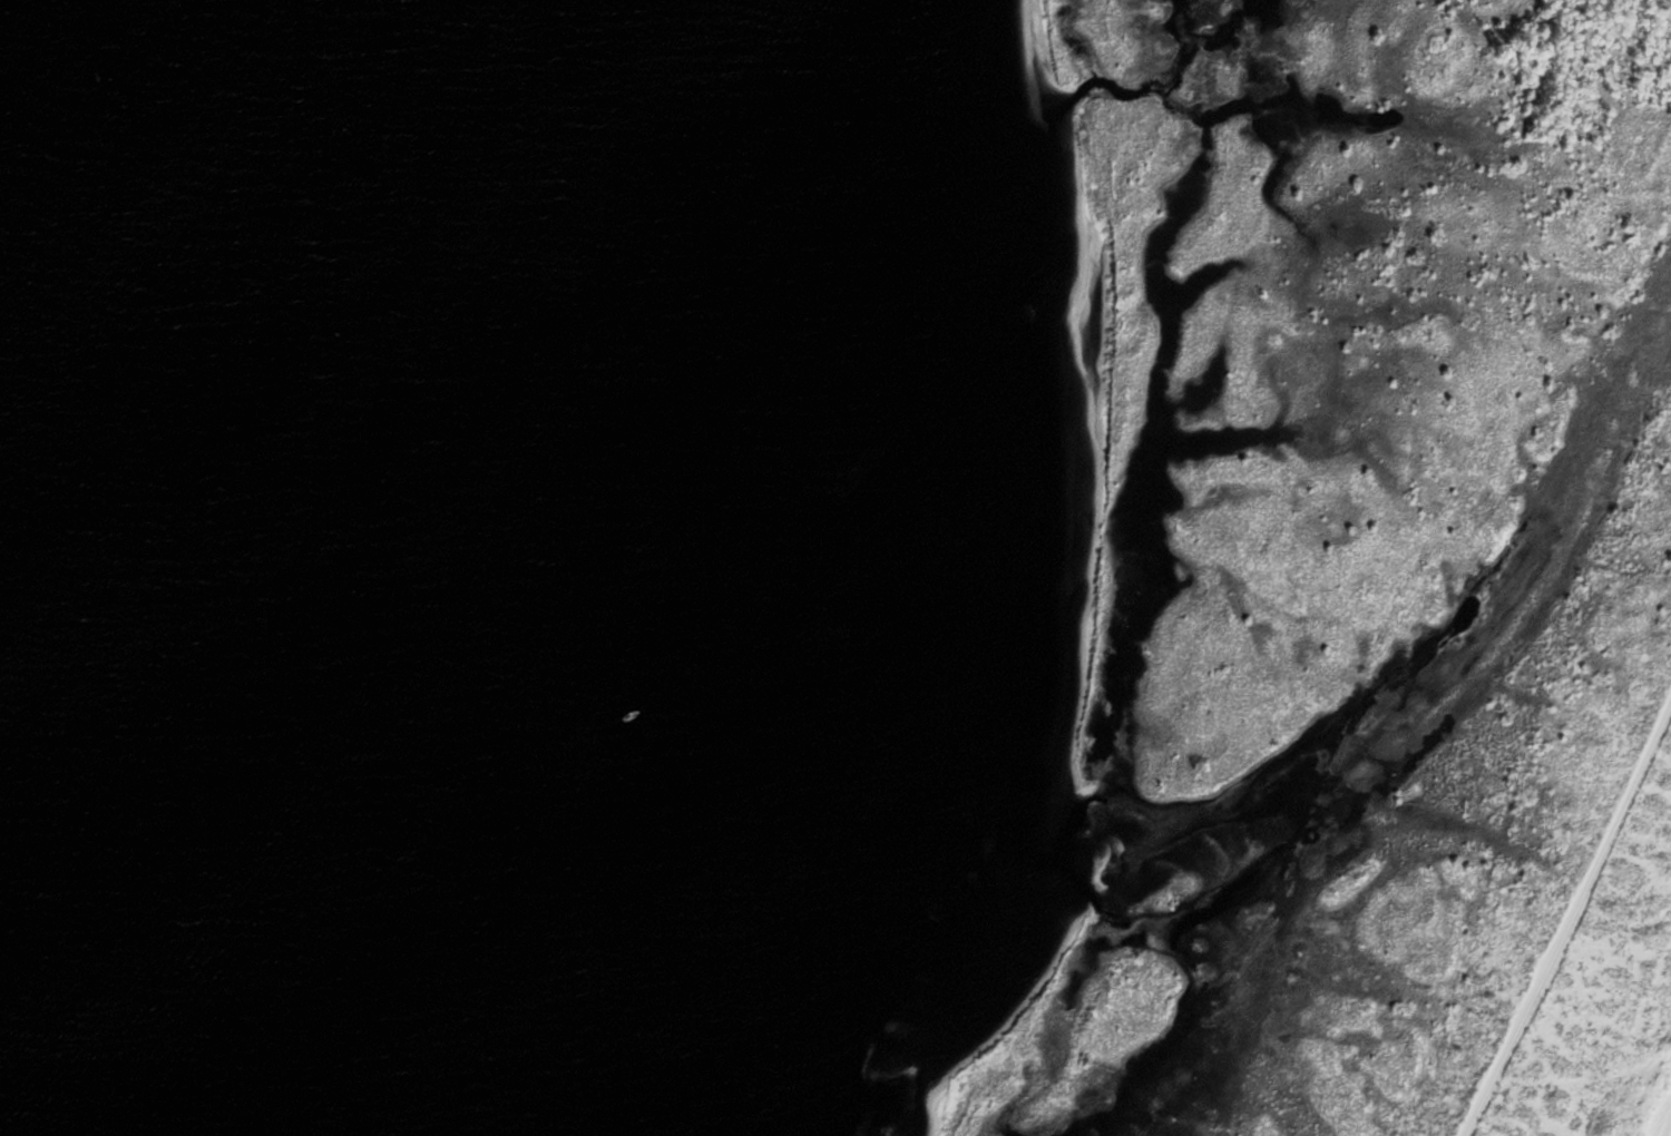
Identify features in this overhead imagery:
road: (1572, 920)

